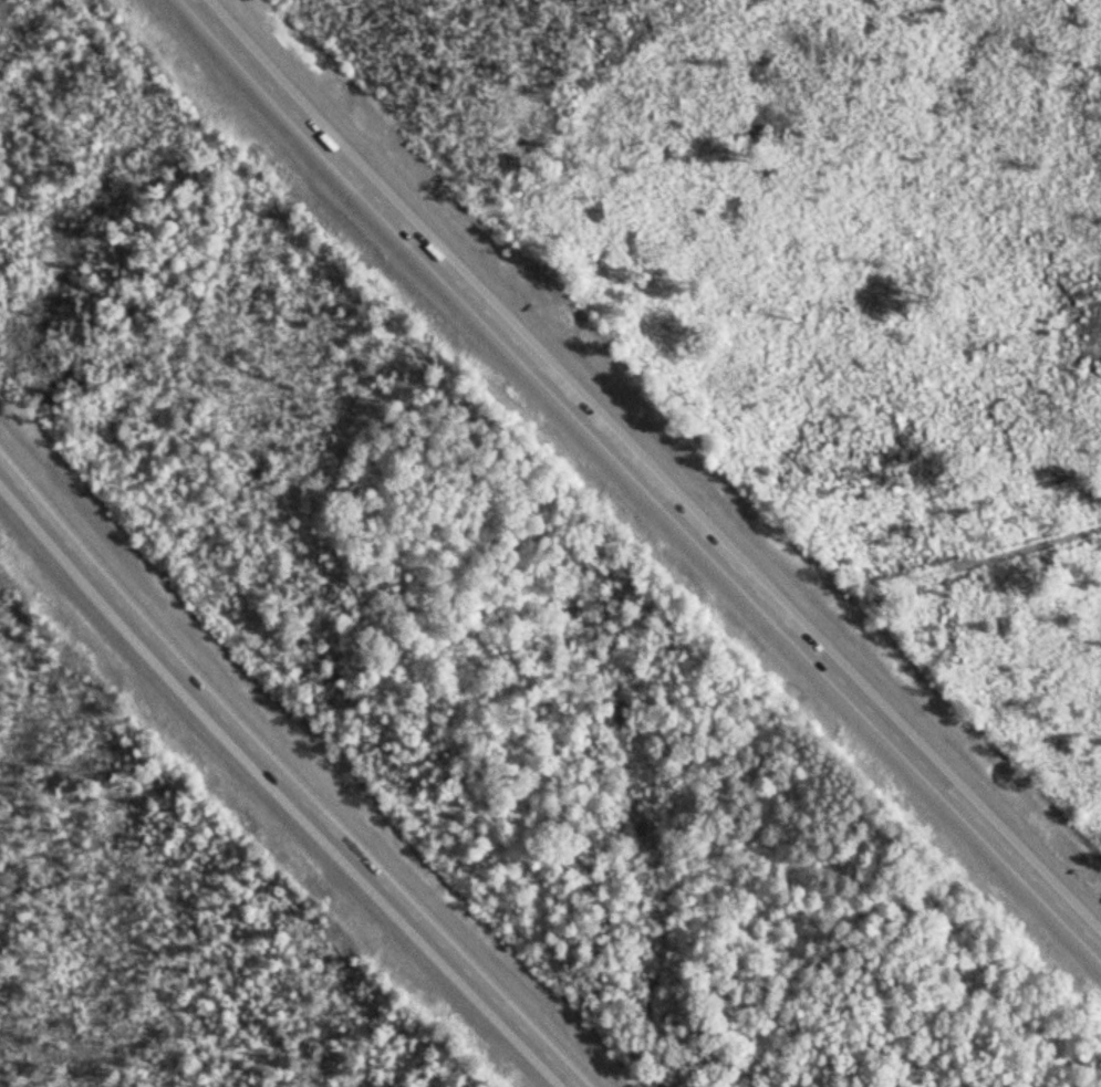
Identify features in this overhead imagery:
road: (647, 477)
road: (288, 772)

